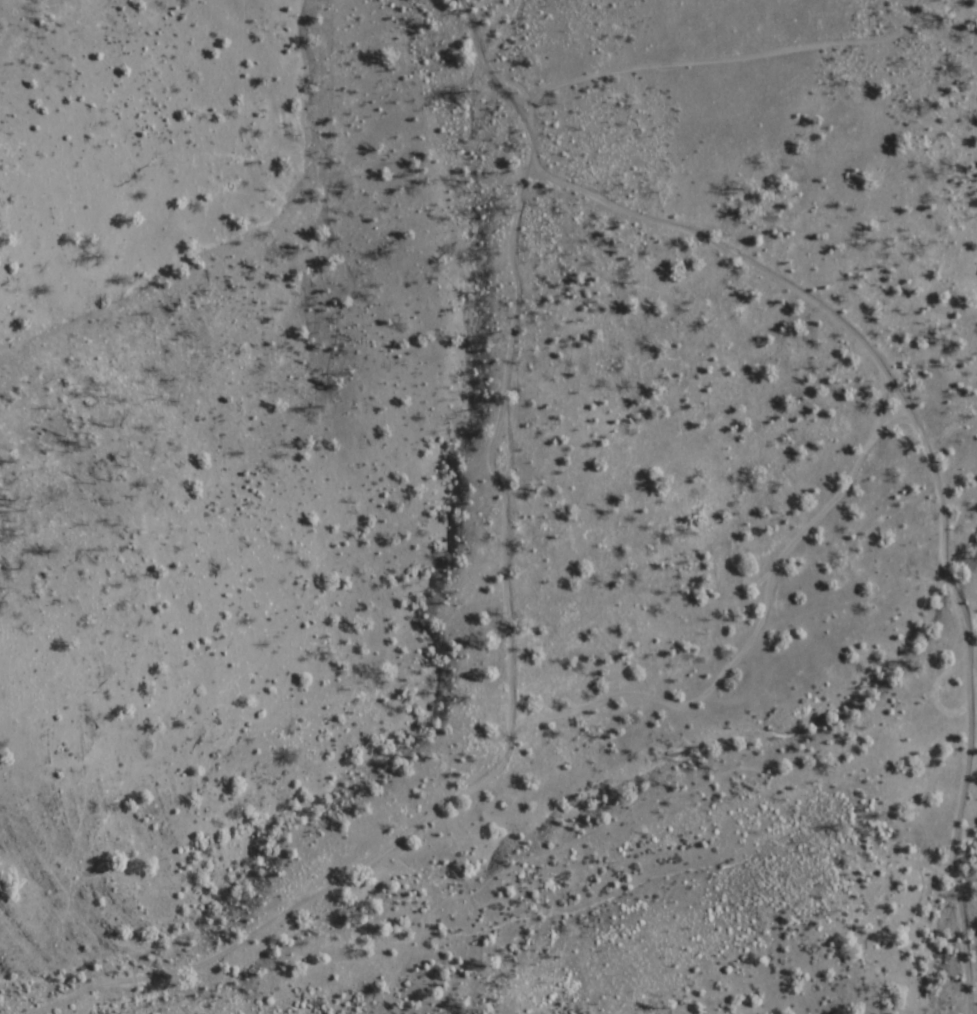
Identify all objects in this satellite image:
road: (940, 483)
road: (757, 632)
road: (513, 641)

